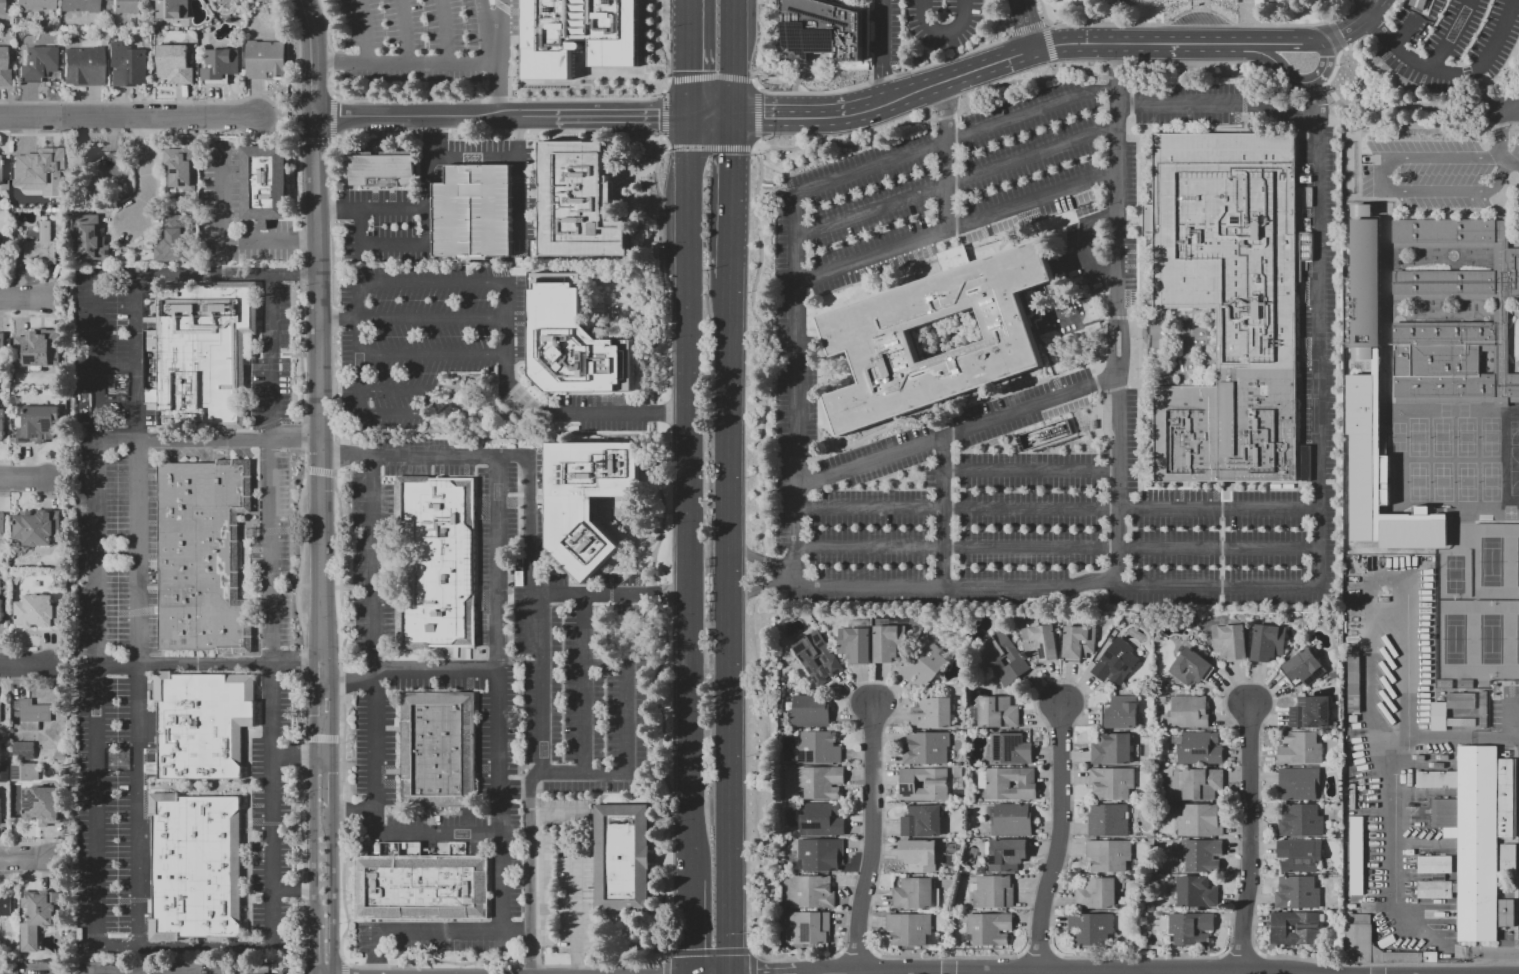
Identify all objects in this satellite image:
road: (762, 0)
road: (1352, 0)
building: (34, 4)
road: (732, 4)
road: (1200, 4)
building: (78, 6)
building: (126, 6)
building: (0, 7)
road: (1364, 7)
building: (173, 9)
road: (1204, 9)
road: (1043, 11)
road: (483, 12)
road: (876, 16)
road: (1075, 18)
parking lot: (946, 22)
road: (1045, 23)
road: (1026, 24)
road: (1354, 25)
road: (1414, 26)
road: (1026, 29)
road: (404, 30)
road: (443, 30)
building: (822, 30)
road: (945, 32)
road: (1337, 33)
building: (577, 34)
road: (1452, 38)
parking lot: (419, 40)
road: (951, 40)
parking lot: (1455, 41)
road: (1048, 42)
road: (1179, 43)
road: (1281, 43)
road: (761, 44)
road: (662, 46)
road: (876, 46)
road: (1393, 49)
road: (883, 50)
road: (955, 52)
road: (316, 57)
road: (927, 57)
road: (491, 58)
road: (687, 58)
road: (1489, 58)
building: (265, 59)
road: (1385, 59)
road: (997, 61)
building: (36, 62)
road: (397, 62)
road: (731, 62)
building: (175, 64)
building: (127, 65)
building: (83, 66)
building: (220, 66)
road: (1055, 68)
road: (1397, 69)
building: (3, 70)
road: (1249, 72)
road: (805, 73)
road: (868, 75)
road: (1385, 75)
road: (709, 76)
road: (889, 76)
road: (752, 78)
road: (1116, 79)
road: (1293, 79)
road: (667, 80)
road: (1027, 81)
road: (1242, 83)
road: (1130, 85)
road: (757, 88)
road: (662, 91)
road: (1483, 93)
road: (1316, 97)
road: (1130, 103)
road: (1243, 103)
road: (1116, 106)
road: (1461, 108)
road: (1365, 110)
road: (1507, 112)
road: (663, 114)
road: (756, 114)
road: (807, 114)
road: (130, 115)
road: (1031, 115)
road: (435, 116)
road: (620, 116)
traffic signals: (687, 116)
road: (709, 116)
road: (944, 116)
traffic signals: (732, 117)
road: (288, 121)
road: (1244, 124)
road: (1408, 125)
road: (1510, 126)
road: (518, 135)
road: (660, 140)
road: (1500, 144)
road: (845, 146)
road: (665, 148)
road: (710, 148)
road: (144, 151)
road: (473, 156)
road: (946, 157)
building: (45, 166)
building: (181, 167)
road: (773, 167)
building: (382, 169)
parking lot: (1437, 172)
road: (631, 178)
building: (264, 183)
road: (829, 183)
road: (955, 184)
road: (1384, 184)
road: (789, 185)
building: (59, 188)
road: (146, 190)
road: (518, 196)
road: (730, 197)
building: (578, 201)
building: (60, 202)
building: (16, 203)
road: (418, 207)
building: (1360, 209)
building: (55, 210)
road: (1470, 210)
building: (471, 212)
parking lot: (471, 212)
building: (2, 214)
road: (222, 228)
road: (956, 229)
building: (89, 236)
building: (0, 239)
building: (173, 239)
road: (304, 241)
road: (643, 243)
road: (1116, 243)
road: (391, 244)
flagpole: (987, 244)
building: (42, 245)
flagpole: (979, 246)
flagpole: (972, 249)
building: (0, 257)
road: (1085, 257)
road: (655, 272)
road: (208, 274)
road: (432, 283)
building: (1364, 286)
road: (6, 294)
road: (31, 294)
road: (1137, 298)
road: (358, 300)
building: (1232, 302)
road: (1494, 305)
building: (1500, 310)
road: (432, 317)
road: (339, 318)
building: (867, 336)
building: (573, 341)
road: (1110, 344)
road: (1124, 344)
building: (34, 345)
road: (764, 346)
parking lot: (446, 347)
building: (3, 348)
parking lot: (794, 349)
building: (204, 353)
road: (432, 355)
road: (359, 365)
road: (321, 397)
road: (425, 397)
building: (0, 404)
road: (543, 409)
park: (1453, 410)
road: (655, 413)
building: (38, 424)
building: (1095, 424)
building: (3, 425)
road: (954, 431)
park: (1514, 432)
building: (1045, 434)
park: (1440, 436)
park: (1465, 436)
park: (1490, 436)
park: (1397, 437)
park: (1417, 437)
road: (209, 439)
building: (1361, 457)
road: (1030, 470)
park: (1514, 471)
road: (1115, 479)
road: (19, 481)
road: (45, 481)
park: (1418, 481)
park: (1441, 481)
park: (1465, 481)
park: (1490, 481)
road: (688, 496)
building: (586, 499)
road: (662, 503)
road: (1056, 507)
road: (944, 511)
park: (1510, 512)
road: (637, 520)
building: (2, 524)
building: (36, 527)
road: (609, 528)
building: (1411, 532)
road: (1056, 547)
building: (202, 556)
road: (760, 558)
park: (1490, 558)
road: (764, 560)
building: (437, 561)
road: (604, 568)
road: (762, 573)
park: (1452, 574)
road: (1242, 586)
road: (761, 588)
road: (759, 590)
road: (609, 593)
road: (654, 595)
road: (136, 610)
building: (2, 612)
building: (38, 612)
road: (533, 613)
road: (727, 626)
road: (630, 632)
park: (1476, 639)
building: (1078, 640)
building: (887, 641)
building: (1040, 641)
building: (1229, 641)
building: (1267, 641)
building: (853, 644)
building: (806, 657)
building: (993, 657)
building: (1113, 659)
building: (922, 661)
road: (210, 663)
building: (1303, 665)
building: (1189, 666)
road: (22, 669)
road: (439, 670)
road: (348, 680)
road: (583, 682)
building: (1356, 686)
building: (1461, 700)
building: (0, 701)
road: (372, 703)
building: (1186, 710)
building: (1483, 710)
building: (809, 711)
building: (1121, 711)
building: (1310, 711)
building: (997, 712)
building: (932, 713)
building: (33, 714)
road: (332, 715)
building: (1437, 715)
building: (0, 718)
building: (1461, 721)
building: (202, 723)
road: (1404, 733)
road: (627, 738)
building: (1299, 746)
building: (817, 747)
building: (925, 747)
building: (1111, 747)
building: (1199, 747)
building: (1009, 748)
building: (437, 749)
building: (22, 750)
road: (301, 753)
building: (59, 756)
building: (24, 771)
building: (4, 772)
road: (759, 772)
road: (497, 775)
road: (664, 780)
road: (331, 781)
building: (1298, 781)
building: (820, 782)
building: (1111, 782)
building: (1200, 782)
building: (1007, 783)
building: (936, 784)
road: (312, 800)
building: (42, 804)
road: (351, 810)
building: (0, 813)
building: (1011, 819)
building: (1107, 819)
building: (1200, 819)
building: (1299, 819)
building: (820, 820)
building: (921, 821)
building: (1472, 836)
road: (1249, 839)
road: (1058, 840)
road: (870, 841)
parking lot: (1518, 843)
building: (1006, 853)
building: (1298, 853)
building: (820, 854)
building: (1108, 854)
building: (1201, 854)
building: (1355, 854)
building: (918, 855)
building: (622, 857)
building: (1505, 857)
road: (23, 860)
building: (1433, 865)
building: (194, 866)
building: (1437, 877)
building: (419, 884)
road: (292, 889)
road: (1515, 889)
road: (331, 891)
building: (992, 891)
building: (1195, 891)
building: (1296, 891)
building: (811, 892)
building: (1096, 892)
building: (915, 894)
road: (1398, 898)
road: (577, 902)
building: (6, 906)
road: (1517, 912)
building: (38, 915)
road: (690, 926)
building: (1090, 927)
building: (1190, 927)
building: (1307, 927)
building: (807, 928)
building: (988, 928)
building: (908, 929)
road: (1514, 944)
road: (182, 945)
road: (314, 949)
building: (1378, 949)
road: (709, 952)
road: (1240, 956)
road: (578, 962)
road: (751, 962)
road: (1387, 964)
road: (663, 967)
building: (6, 973)
building: (279, 973)

